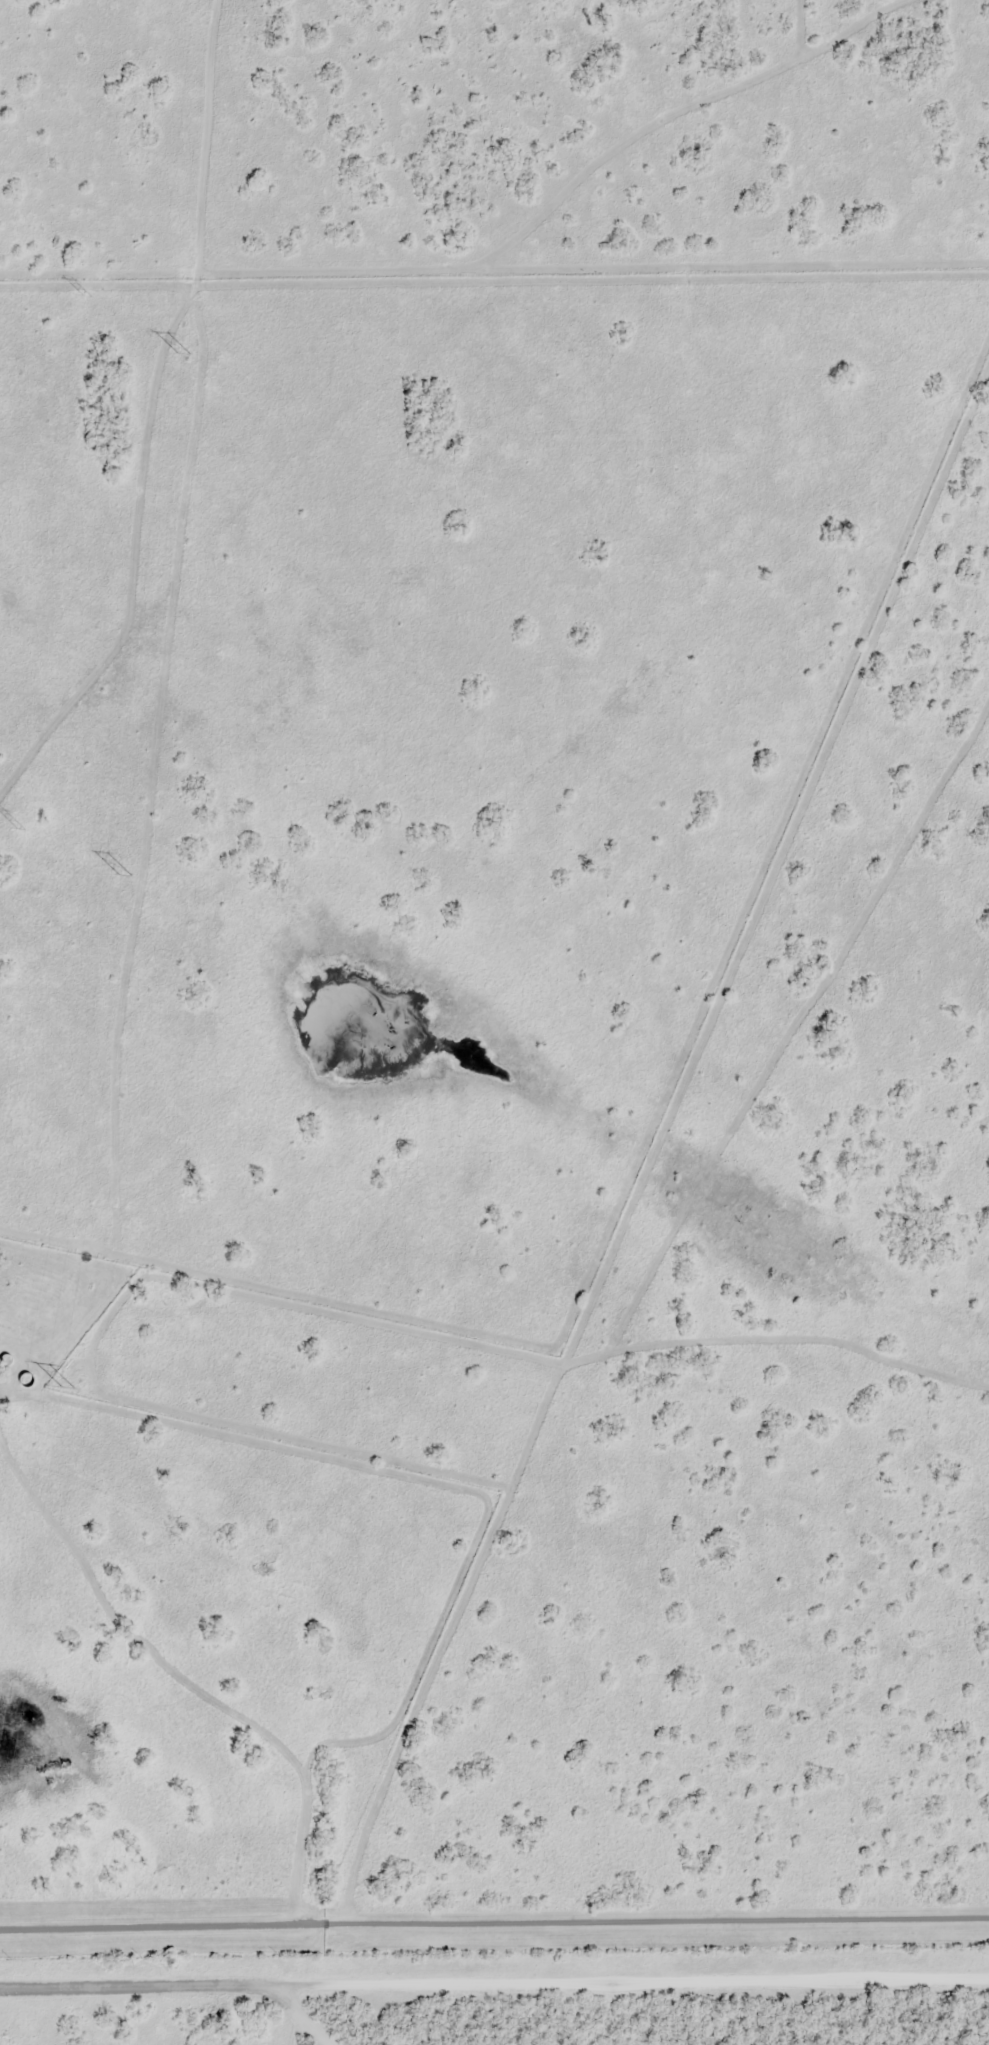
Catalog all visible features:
power tower: (87, 295)
power tower: (181, 355)
power tower: (20, 829)
power tower: (122, 880)
power tower: (66, 1389)
road: (494, 1927)
road: (494, 1982)

